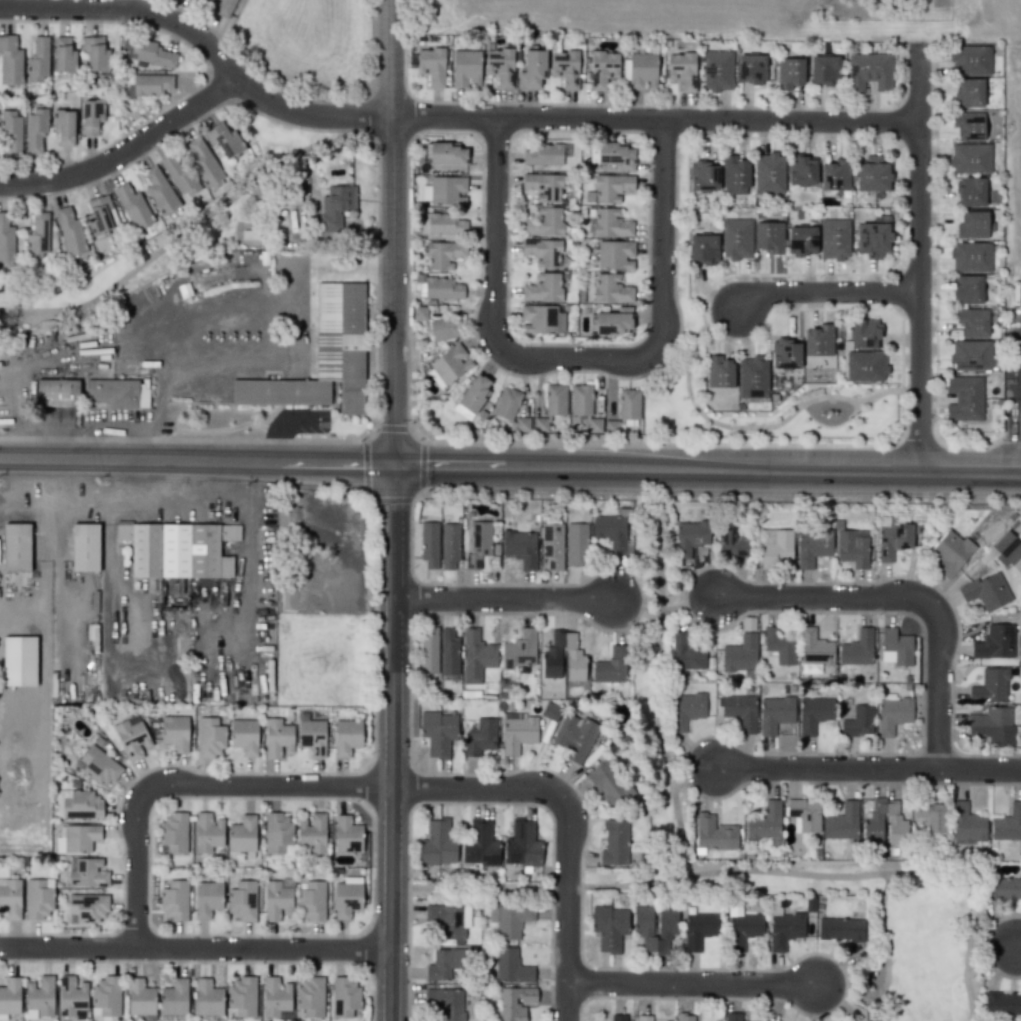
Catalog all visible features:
building: (224, 8)
park: (308, 44)
building: (151, 53)
building: (95, 54)
building: (63, 55)
building: (10, 60)
building: (38, 60)
building: (969, 60)
building: (431, 66)
building: (500, 66)
building: (466, 68)
building: (532, 68)
building: (565, 68)
building: (603, 69)
building: (751, 69)
building: (682, 70)
building: (824, 70)
building: (642, 71)
building: (717, 71)
building: (868, 71)
building: (790, 73)
building: (151, 84)
building: (968, 93)
street lamp: (937, 110)
road: (314, 113)
building: (91, 116)
road: (791, 121)
building: (968, 126)
building: (63, 127)
building: (35, 129)
building: (11, 133)
building: (224, 140)
road: (123, 146)
building: (447, 153)
building: (543, 154)
building: (616, 155)
building: (970, 159)
building: (204, 162)
crop: (1012, 164)
building: (802, 171)
building: (768, 173)
building: (874, 174)
building: (177, 175)
building: (735, 175)
building: (835, 175)
building: (703, 176)
building: (543, 186)
building: (611, 188)
building: (160, 191)
building: (444, 191)
building: (971, 191)
building: (335, 206)
building: (133, 207)
building: (100, 214)
building: (544, 222)
park: (681, 222)
building: (610, 223)
building: (443, 224)
building: (972, 225)
building: (69, 231)
road: (494, 231)
road: (184, 232)
road: (391, 232)
park: (171, 235)
road: (661, 235)
building: (37, 236)
building: (770, 237)
building: (736, 239)
building: (834, 239)
building: (873, 239)
building: (802, 240)
building: (6, 241)
building: (703, 248)
building: (542, 252)
building: (614, 254)
building: (444, 255)
building: (971, 257)
road: (918, 259)
street lamp: (932, 274)
building: (442, 288)
building: (543, 288)
building: (610, 289)
building: (968, 289)
road: (823, 291)
road: (219, 307)
building: (419, 313)
building: (541, 319)
building: (613, 321)
building: (973, 322)
building: (444, 327)
building: (864, 333)
building: (819, 340)
building: (342, 342)
building: (785, 354)
building: (971, 355)
road: (574, 356)
building: (450, 364)
building: (865, 366)
building: (719, 372)
building: (752, 378)
building: (57, 393)
building: (112, 394)
building: (281, 394)
building: (474, 394)
building: (965, 398)
building: (555, 400)
building: (581, 400)
building: (507, 403)
building: (628, 404)
road: (1020, 413)
street lamp: (932, 420)
building: (522, 424)
building: (540, 424)
building: (593, 425)
road: (749, 427)
road: (1017, 440)
road: (197, 459)
traffic signals: (394, 464)
road: (707, 469)
road: (84, 502)
building: (611, 530)
building: (690, 538)
building: (893, 540)
building: (731, 541)
building: (429, 544)
building: (478, 544)
building: (552, 545)
building: (576, 545)
building: (449, 546)
building: (776, 546)
building: (812, 547)
building: (852, 547)
building: (1007, 547)
building: (15, 548)
building: (85, 548)
building: (520, 548)
building: (182, 550)
building: (951, 553)
street lamp: (412, 566)
building: (987, 591)
road: (905, 596)
road: (502, 598)
road: (688, 602)
road: (636, 608)
street lamp: (759, 614)
street lamp: (876, 615)
building: (995, 642)
building: (780, 645)
building: (896, 647)
building: (815, 648)
building: (857, 648)
building: (428, 650)
building: (519, 650)
building: (448, 651)
building: (685, 653)
building: (476, 656)
building: (741, 656)
building: (19, 662)
building: (575, 663)
street lamp: (954, 663)
building: (611, 666)
building: (990, 686)
road: (655, 689)
building: (685, 710)
building: (740, 711)
building: (892, 713)
building: (775, 714)
building: (814, 714)
building: (858, 721)
building: (992, 725)
building: (175, 732)
building: (518, 732)
building: (439, 733)
building: (244, 736)
building: (346, 736)
building: (574, 736)
building: (312, 737)
building: (480, 737)
building: (133, 738)
building: (210, 738)
building: (277, 738)
road: (392, 742)
park: (661, 762)
building: (99, 766)
road: (691, 769)
road: (824, 769)
road: (979, 769)
road: (188, 785)
building: (608, 785)
road: (476, 788)
street lamp: (352, 800)
building: (81, 804)
street lamp: (414, 808)
building: (804, 814)
building: (932, 816)
building: (842, 822)
building: (966, 822)
building: (765, 823)
building: (1007, 824)
building: (873, 830)
building: (173, 832)
building: (207, 832)
building: (277, 832)
building: (312, 833)
building: (714, 833)
building: (242, 834)
building: (346, 835)
building: (80, 838)
building: (614, 843)
building: (437, 844)
building: (480, 844)
building: (522, 845)
road: (750, 870)
building: (87, 873)
park: (481, 887)
building: (1003, 889)
building: (347, 897)
building: (10, 899)
building: (37, 899)
building: (207, 899)
building: (174, 900)
building: (242, 900)
building: (276, 901)
building: (312, 901)
building: (88, 907)
road: (567, 908)
building: (449, 920)
building: (509, 920)
building: (609, 927)
building: (655, 927)
building: (743, 928)
building: (699, 929)
building: (784, 929)
building: (840, 929)
road: (994, 945)
road: (1018, 946)
road: (195, 947)
road: (884, 947)
building: (443, 964)
building: (510, 966)
road: (692, 982)
street lamp: (410, 983)
building: (10, 996)
building: (71, 996)
building: (242, 996)
building: (275, 996)
building: (310, 996)
building: (344, 996)
road: (847, 996)
building: (39, 997)
building: (106, 997)
building: (140, 997)
building: (174, 998)
building: (208, 998)
building: (446, 1003)
building: (515, 1003)
building: (1002, 1003)
building: (618, 1017)
building: (684, 1017)
building: (733, 1017)
building: (644, 1018)

